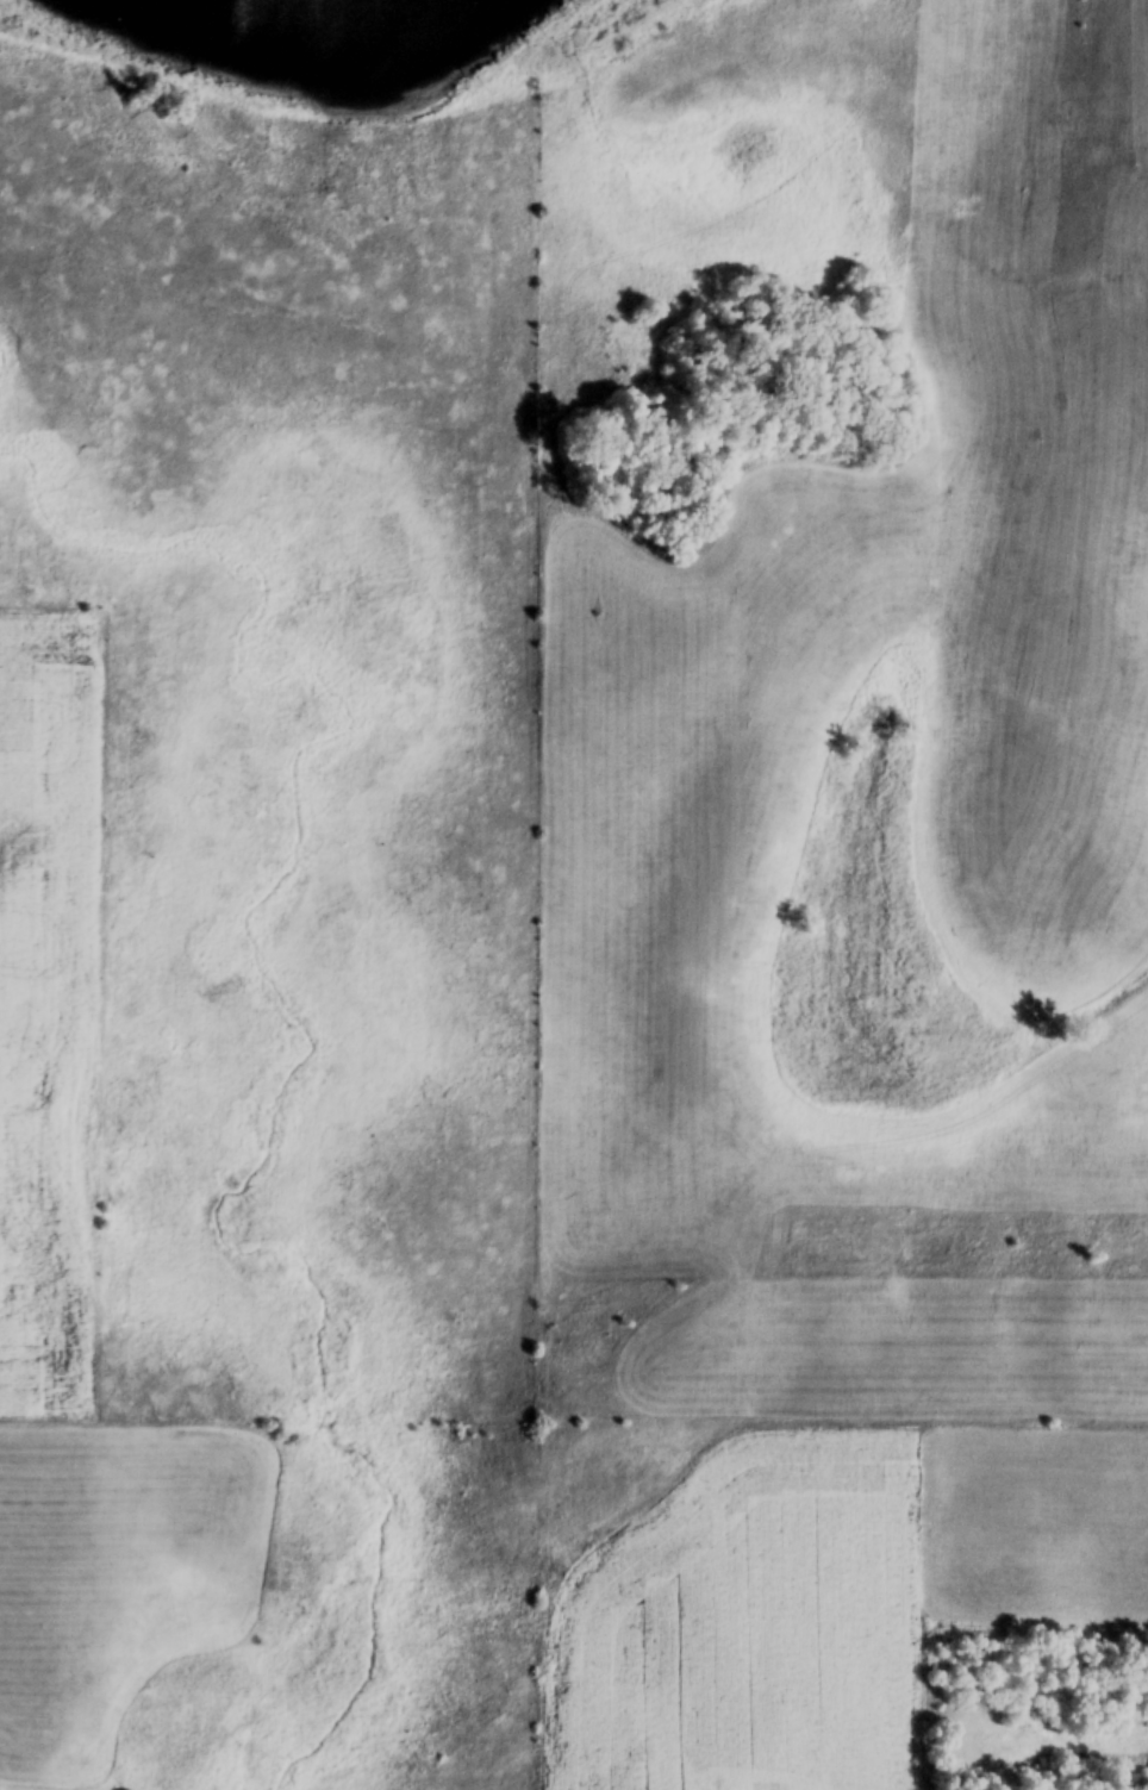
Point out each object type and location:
power tower: (201, 205)
power tower: (642, 382)

